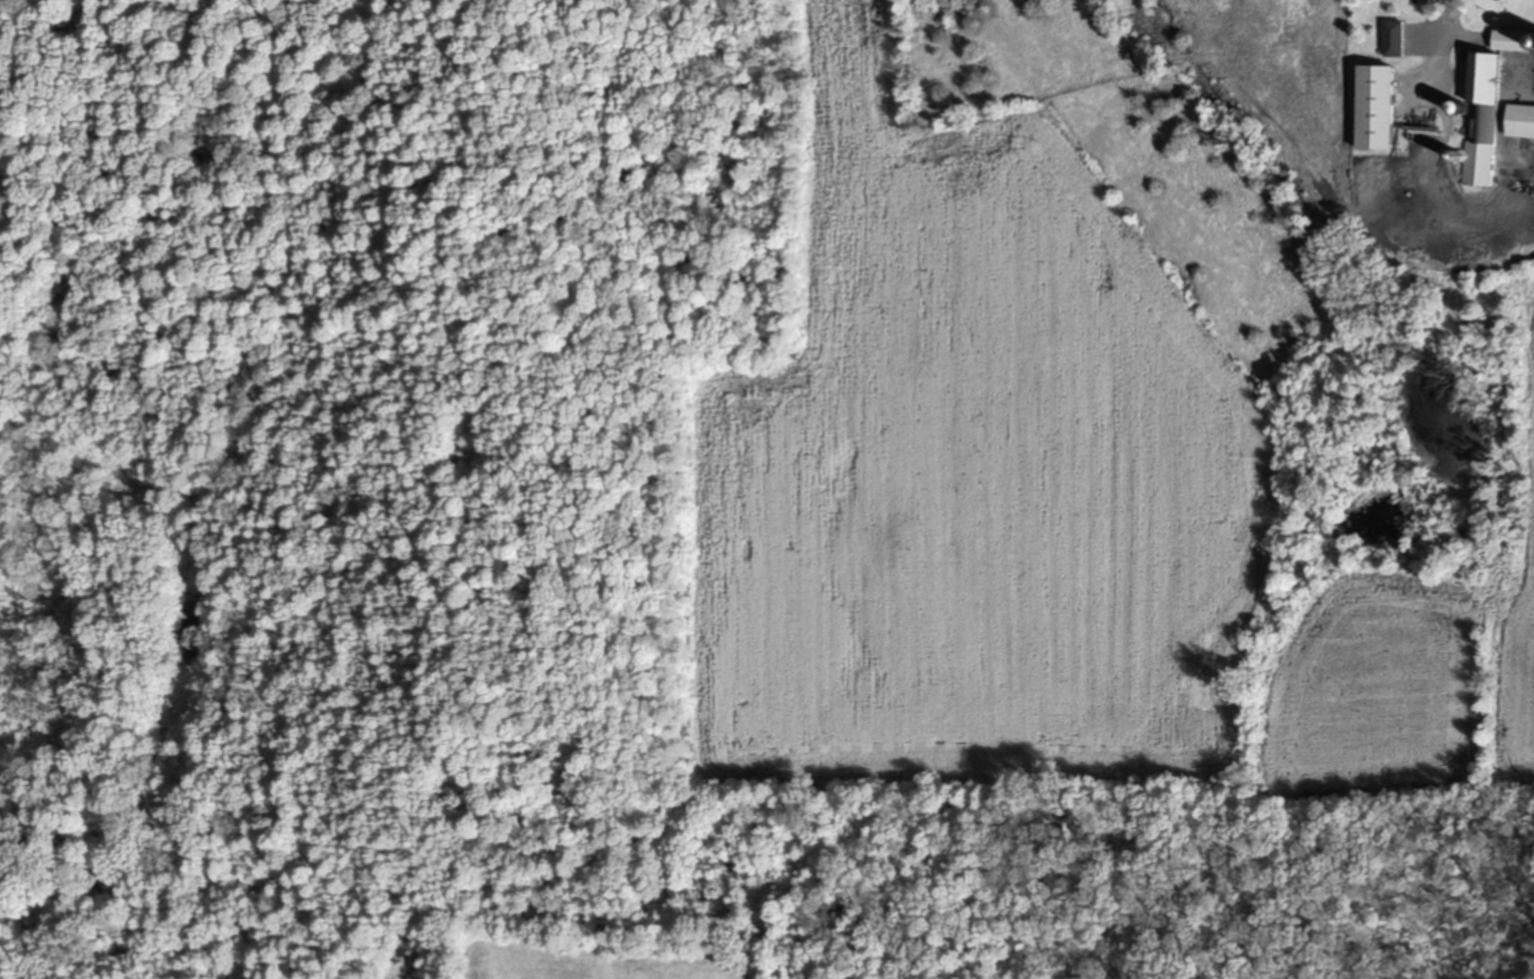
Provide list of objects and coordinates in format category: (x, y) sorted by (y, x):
road: (1455, 19)
building: (1391, 40)
building: (1509, 42)
building: (1373, 109)
building: (1518, 122)
building: (1487, 123)

